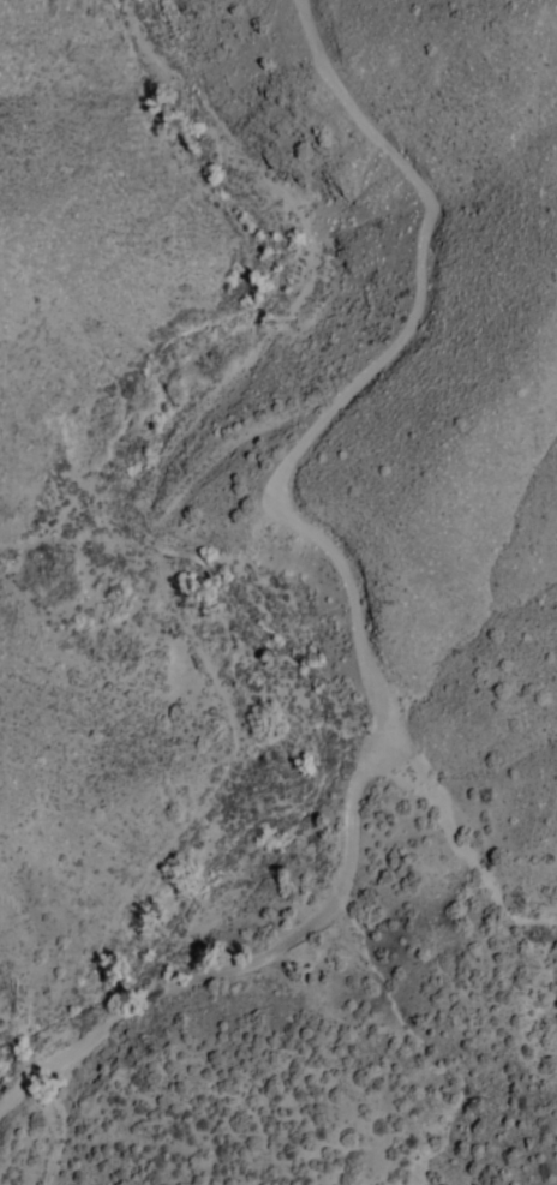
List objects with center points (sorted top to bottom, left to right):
road: (161, 503)

